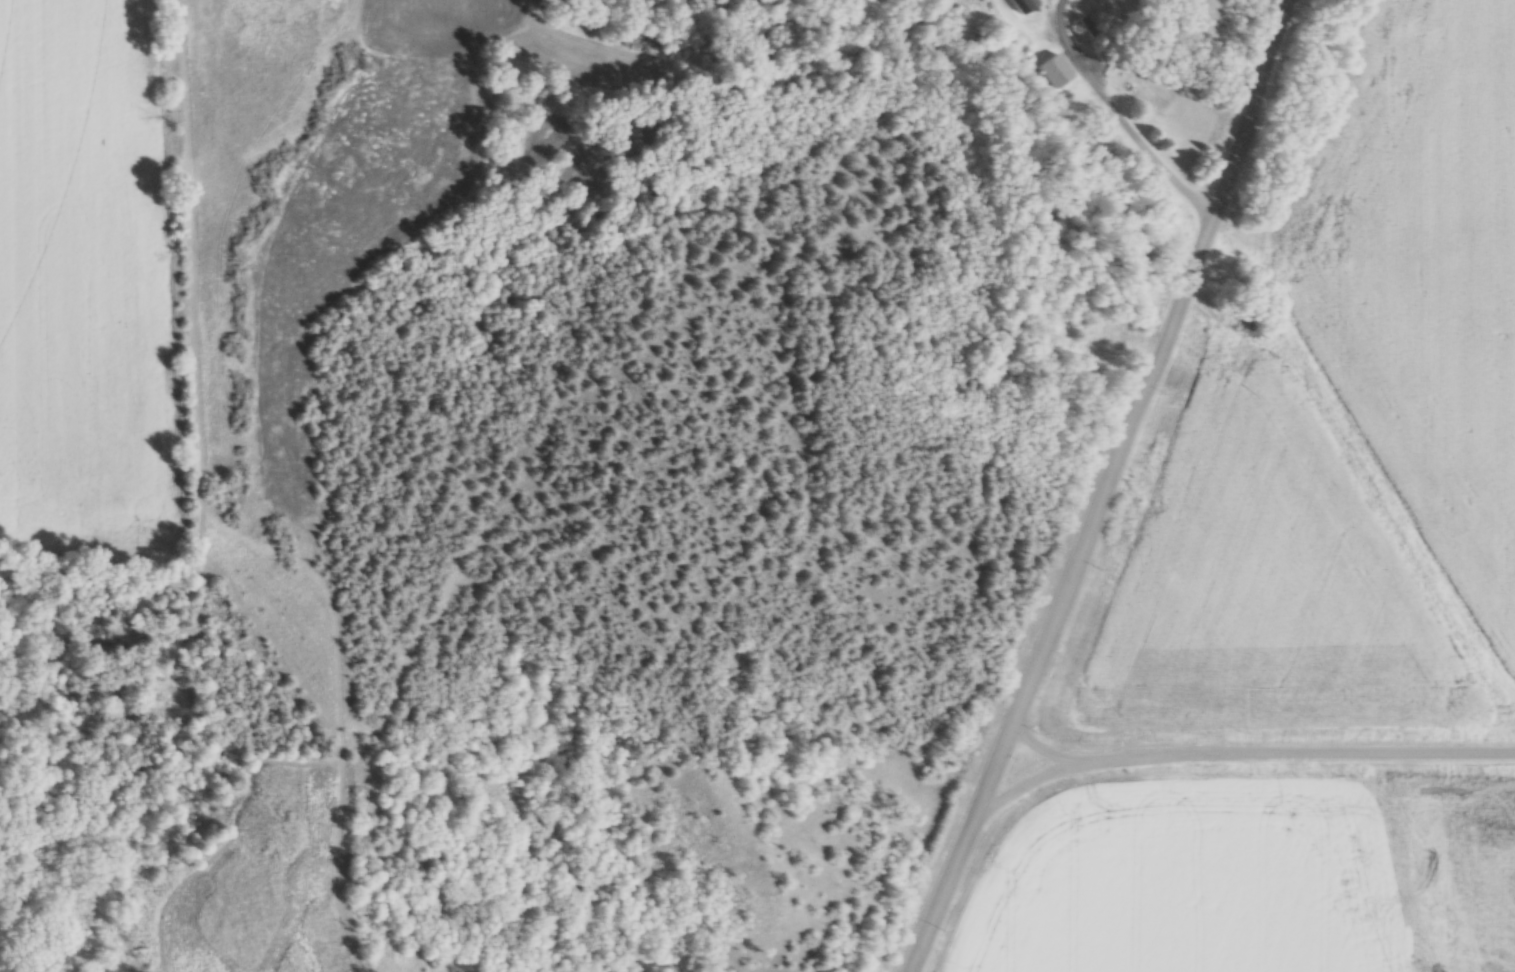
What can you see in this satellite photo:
road: (1120, 118)
road: (1112, 489)
road: (1261, 758)
road: (1037, 786)

